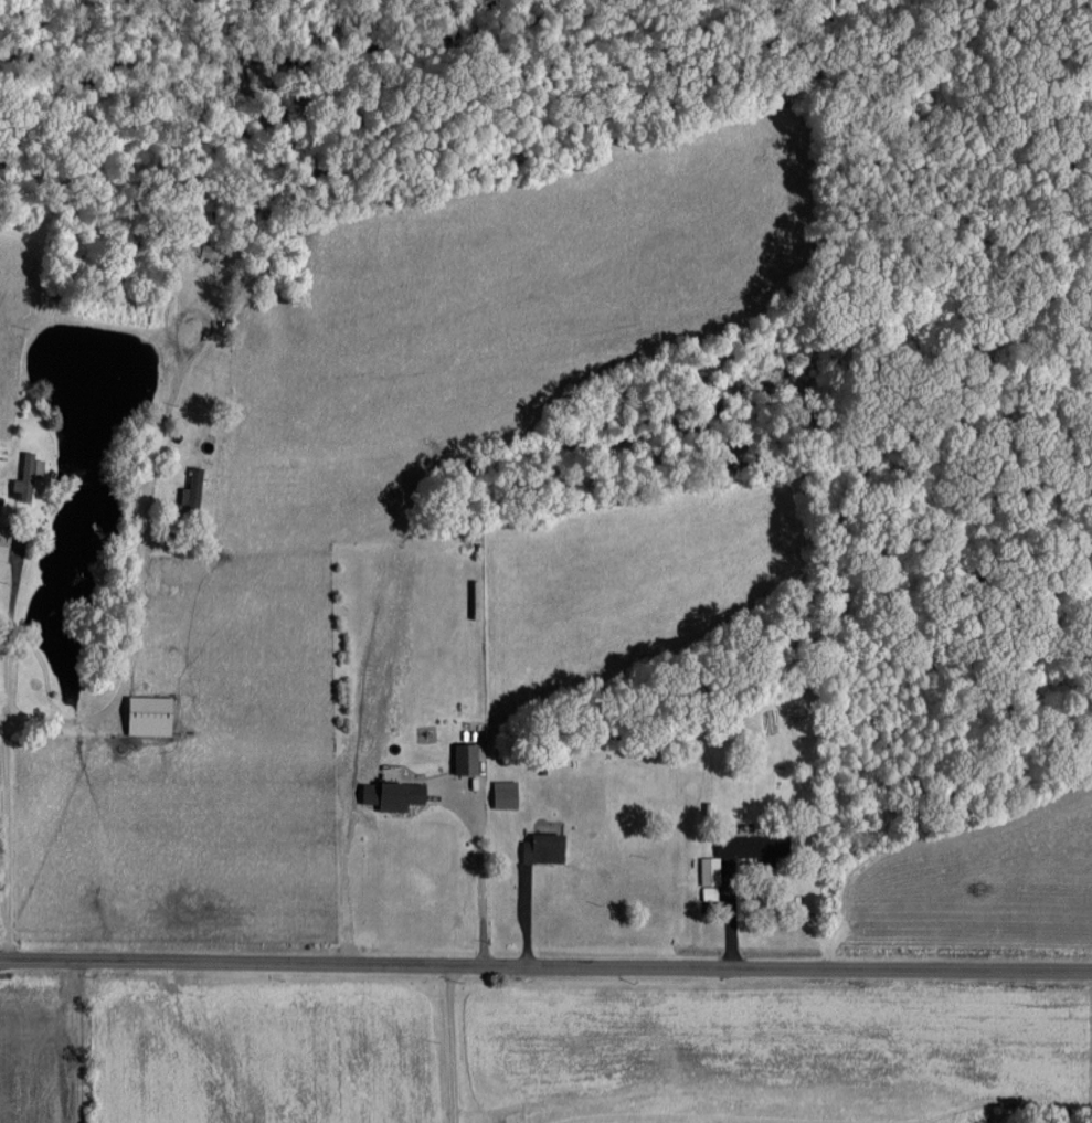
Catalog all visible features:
building: (193, 488)
building: (4, 541)
road: (140, 553)
road: (7, 638)
building: (150, 714)
building: (467, 758)
building: (394, 793)
building: (506, 793)
road: (4, 838)
building: (753, 846)
building: (545, 847)
road: (478, 862)
building: (710, 869)
building: (710, 892)
road: (545, 964)
road: (452, 1042)

